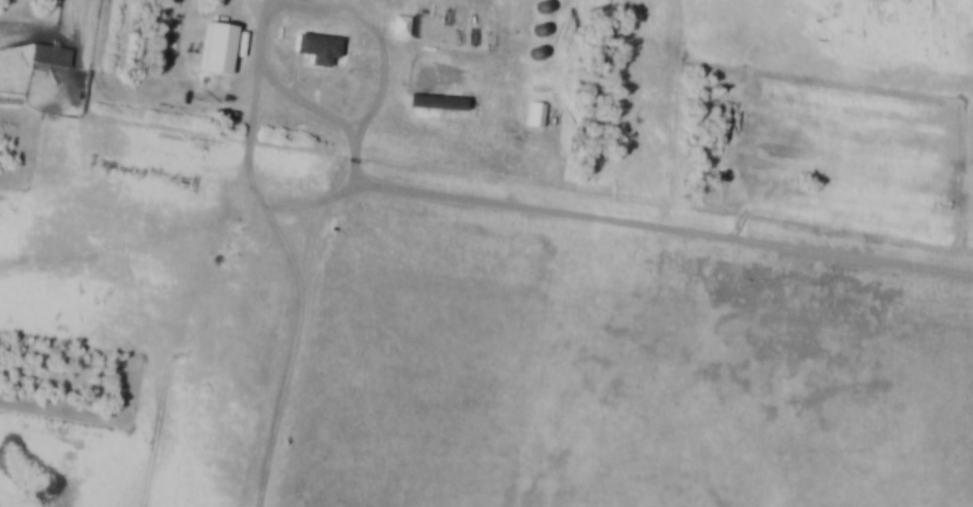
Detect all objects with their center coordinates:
road: (296, 9)
building: (547, 10)
silo: (547, 10)
building: (404, 29)
building: (544, 34)
silo: (544, 34)
building: (320, 48)
building: (221, 53)
building: (55, 57)
building: (541, 57)
silo: (541, 57)
building: (541, 117)
road: (250, 134)
road: (644, 226)
road: (179, 231)

